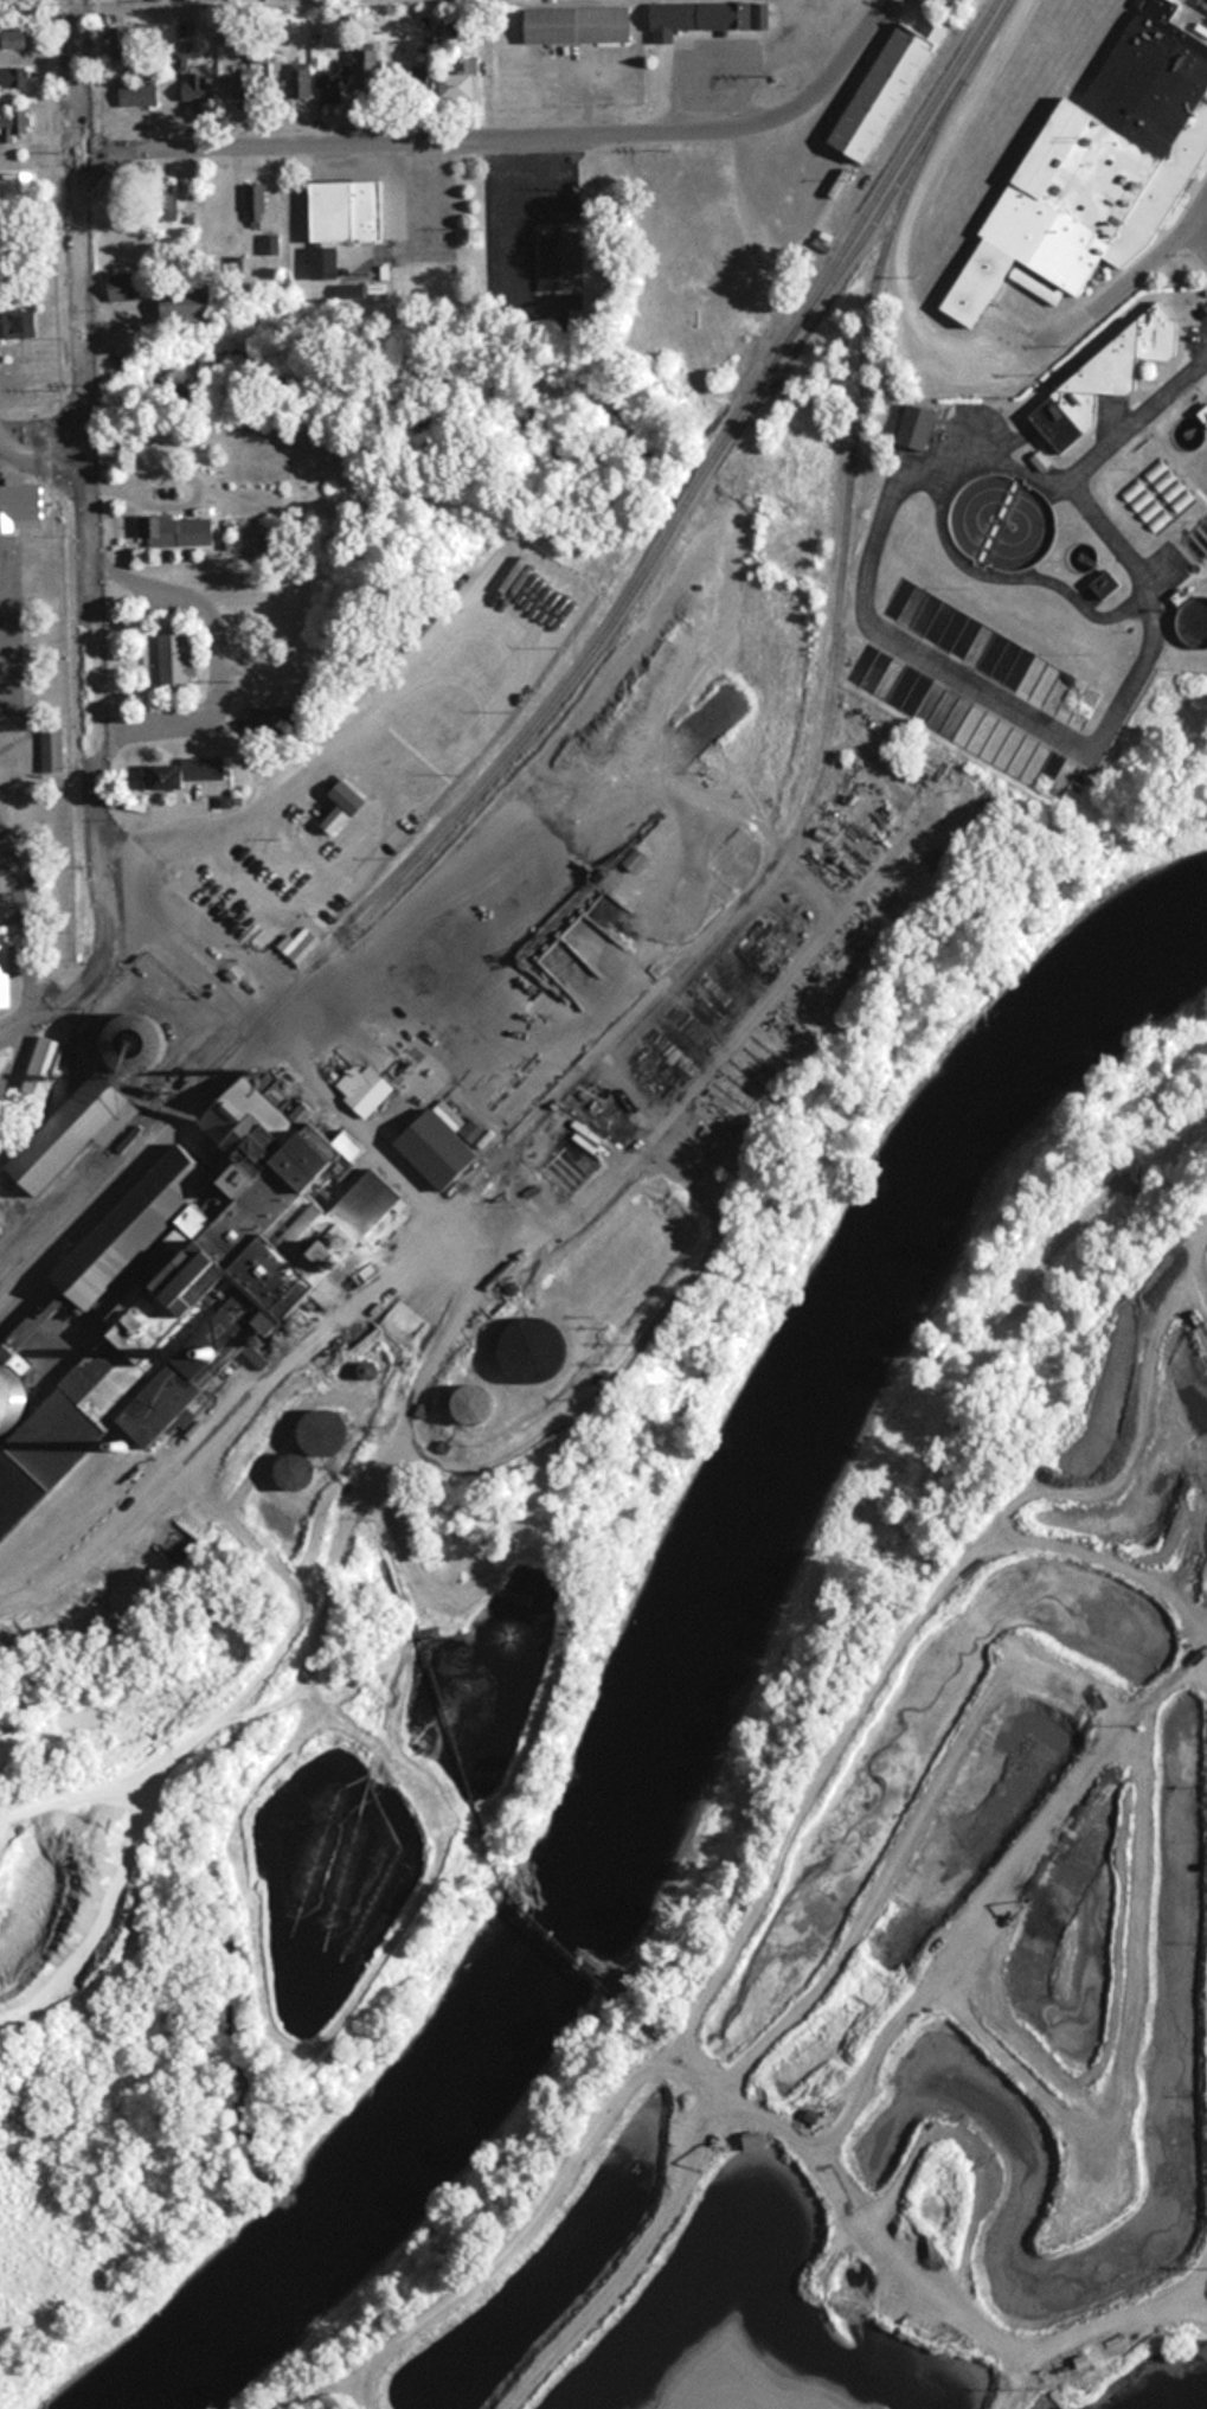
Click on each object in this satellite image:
building: (699, 19)
building: (579, 26)
building: (17, 39)
building: (129, 44)
building: (371, 71)
road: (447, 73)
building: (14, 78)
building: (418, 79)
building: (302, 84)
building: (335, 84)
building: (245, 85)
building: (456, 85)
building: (197, 87)
building: (886, 94)
building: (139, 95)
building: (15, 127)
road: (514, 135)
building: (1103, 166)
railway: (906, 167)
building: (17, 186)
road: (1201, 199)
building: (166, 204)
building: (256, 206)
road: (422, 206)
building: (347, 211)
road: (1201, 222)
building: (326, 262)
building: (561, 262)
road: (1132, 268)
building: (126, 288)
building: (352, 290)
building: (190, 306)
building: (20, 323)
building: (1110, 377)
building: (919, 428)
road: (85, 429)
road: (43, 434)
building: (14, 495)
building: (180, 531)
building: (174, 661)
railway: (557, 690)
building: (278, 724)
building: (53, 743)
building: (185, 771)
building: (344, 807)
building: (636, 859)
building: (4, 966)
road: (159, 970)
road: (102, 975)
railway: (682, 988)
park: (37, 1025)
building: (43, 1070)
road: (347, 1102)
building: (76, 1132)
building: (439, 1148)
road: (140, 1173)
building: (372, 1203)
building: (160, 1271)
railway: (469, 1295)
building: (540, 1354)
railway: (341, 1378)
building: (479, 1404)
river: (700, 1680)
building: (758, 2141)

